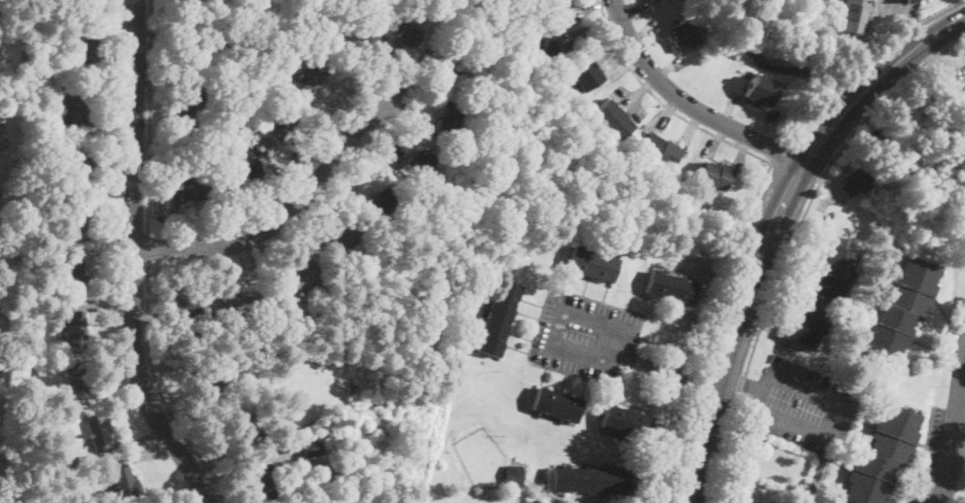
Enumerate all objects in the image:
building: (652, 0)
building: (533, 1)
building: (911, 1)
parking lot: (817, 6)
building: (389, 7)
building: (853, 15)
building: (408, 34)
building: (683, 35)
building: (352, 37)
building: (210, 38)
building: (540, 41)
building: (90, 45)
road: (926, 57)
road: (867, 61)
road: (951, 63)
building: (446, 66)
parking lot: (950, 67)
building: (588, 75)
building: (308, 77)
building: (553, 81)
road: (873, 83)
building: (760, 91)
building: (960, 98)
building: (14, 101)
road: (663, 103)
road: (686, 103)
building: (73, 107)
building: (189, 107)
building: (450, 118)
road: (150, 119)
building: (614, 120)
building: (277, 127)
building: (236, 147)
building: (659, 151)
road: (781, 154)
building: (419, 163)
building: (80, 164)
building: (246, 168)
building: (714, 176)
building: (853, 179)
building: (205, 188)
building: (185, 190)
building: (385, 200)
road: (283, 214)
building: (79, 215)
building: (343, 233)
road: (790, 240)
road: (148, 249)
road: (134, 260)
building: (592, 263)
road: (727, 264)
building: (303, 275)
building: (75, 276)
building: (670, 287)
parking lot: (961, 287)
building: (819, 295)
building: (237, 303)
building: (202, 305)
building: (186, 306)
building: (3, 308)
building: (902, 309)
building: (298, 312)
building: (497, 318)
road: (724, 328)
building: (77, 329)
road: (742, 332)
parking lot: (585, 336)
building: (10, 339)
road: (552, 339)
road: (678, 374)
building: (195, 378)
road: (689, 379)
building: (79, 380)
building: (206, 383)
road: (746, 384)
road: (159, 390)
building: (557, 405)
parking lot: (801, 405)
building: (244, 423)
building: (625, 423)
building: (100, 432)
road: (821, 437)
road: (953, 441)
road: (671, 445)
building: (313, 448)
parking lot: (944, 448)
building: (882, 456)
road: (926, 456)
building: (52, 459)
building: (71, 465)
building: (514, 475)
building: (0, 478)
building: (589, 480)
road: (956, 480)
building: (126, 483)
building: (264, 483)
building: (527, 502)

